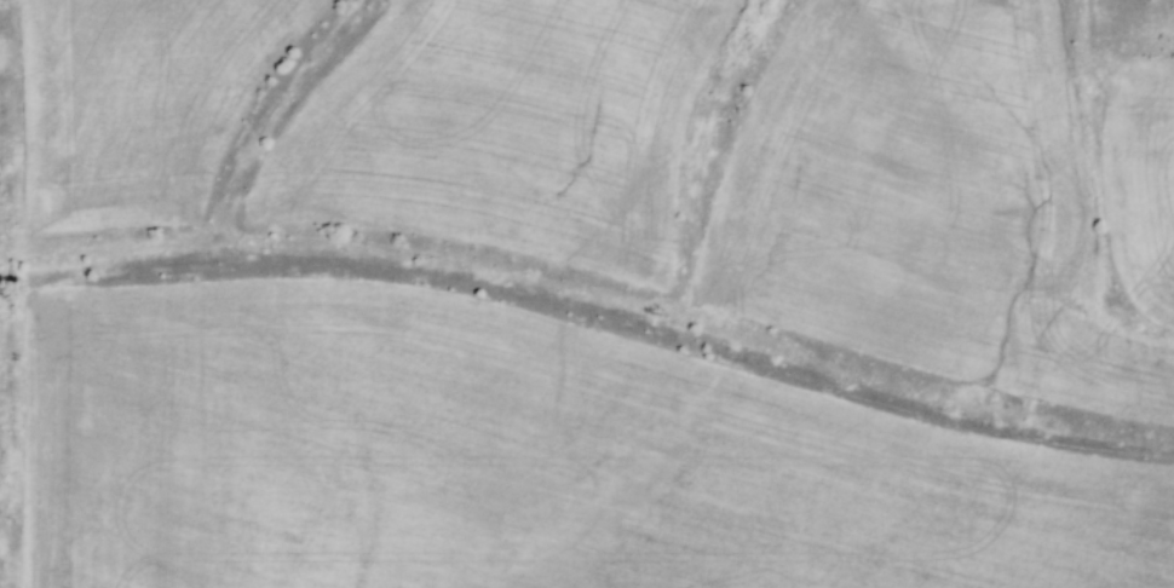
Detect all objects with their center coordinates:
crop: (136, 103)
crop: (499, 128)
crop: (1140, 181)
crop: (921, 192)
crop: (512, 459)

